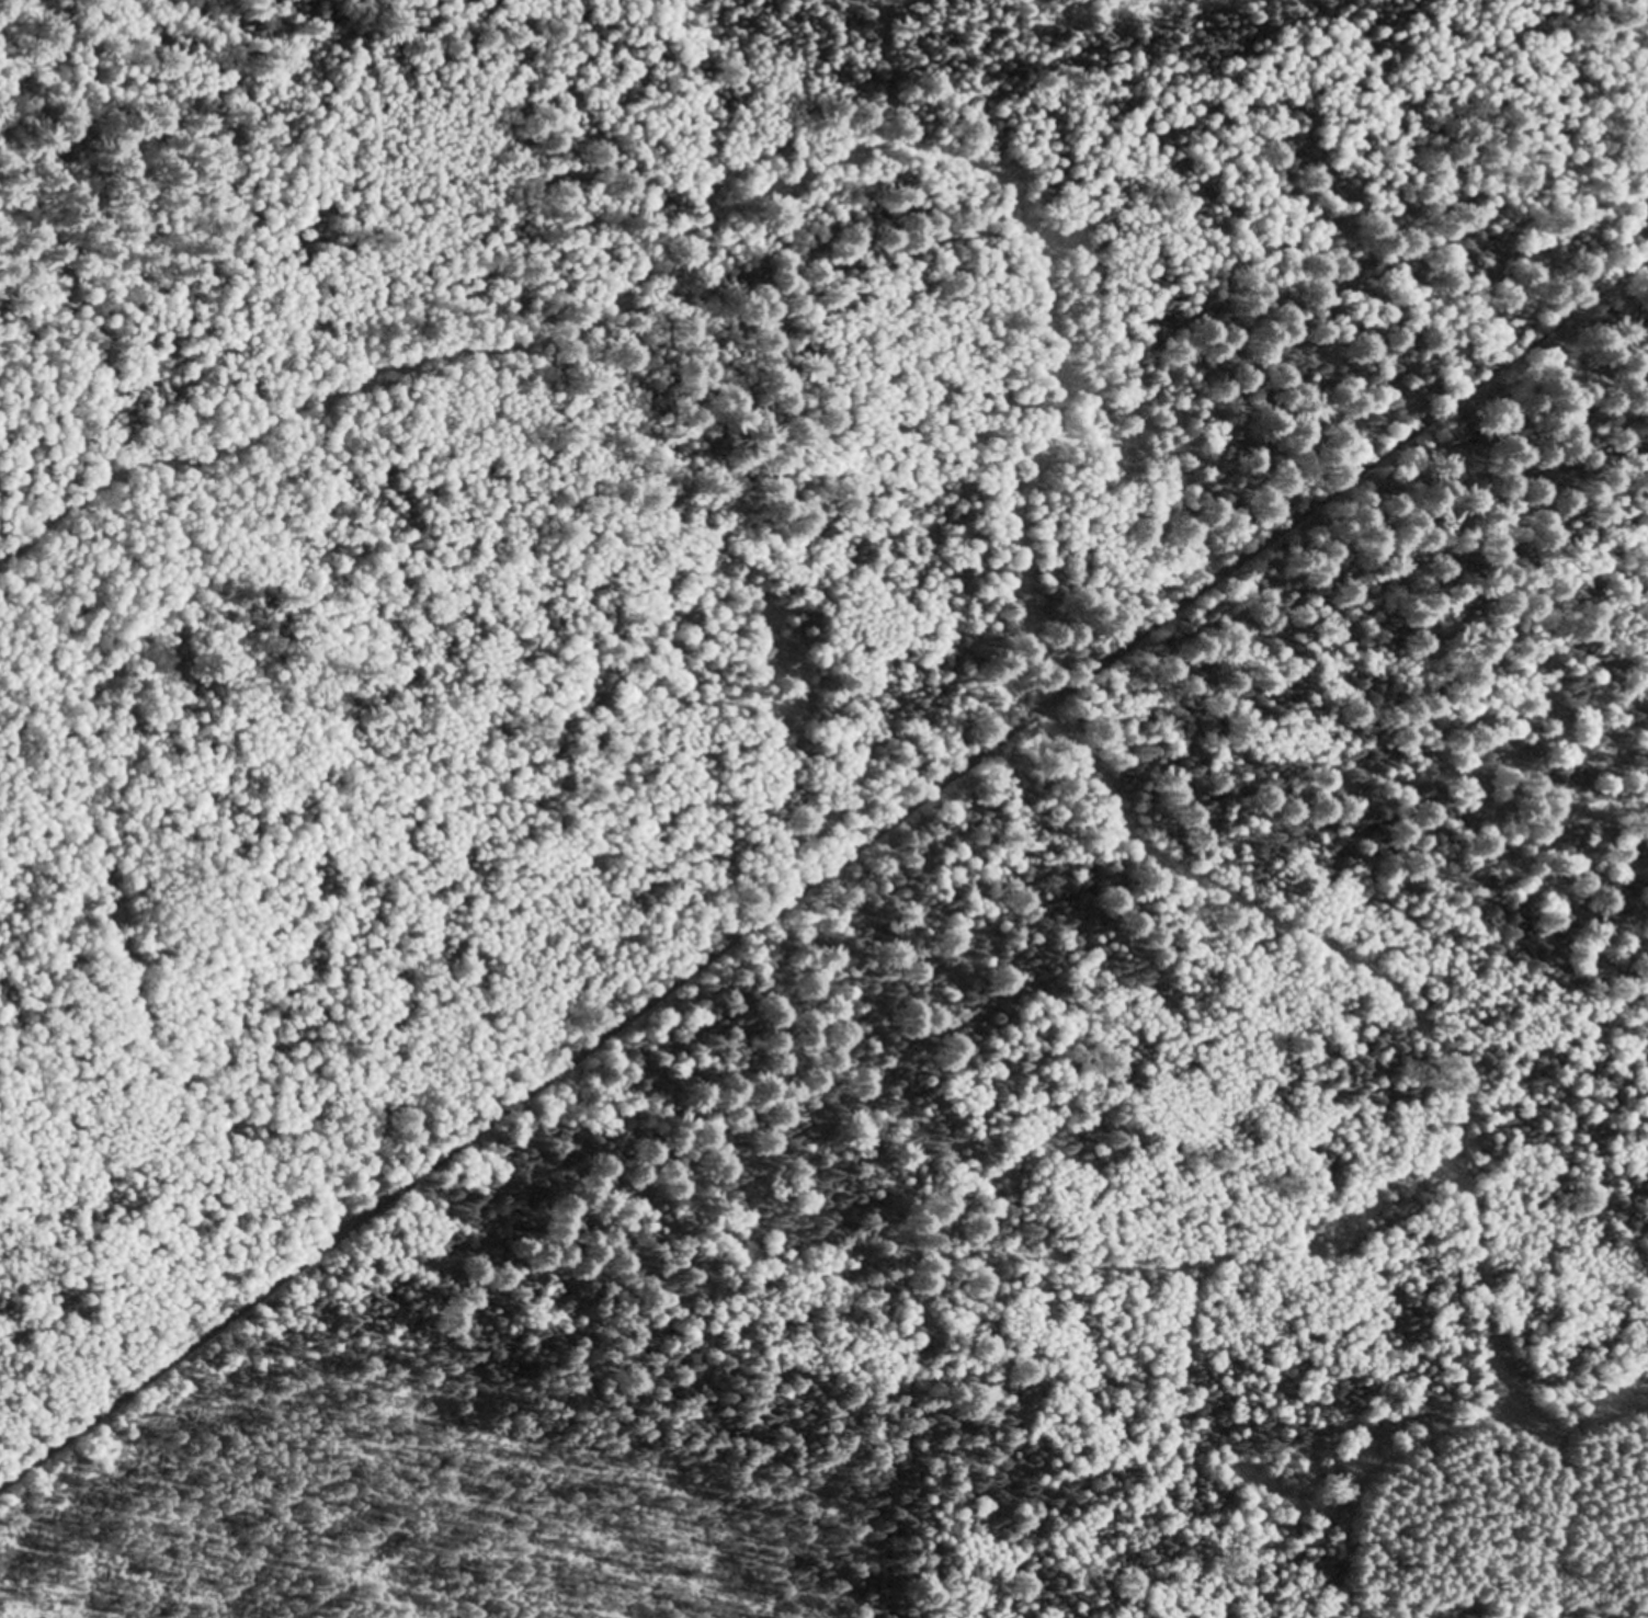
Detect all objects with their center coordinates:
road: (825, 861)

